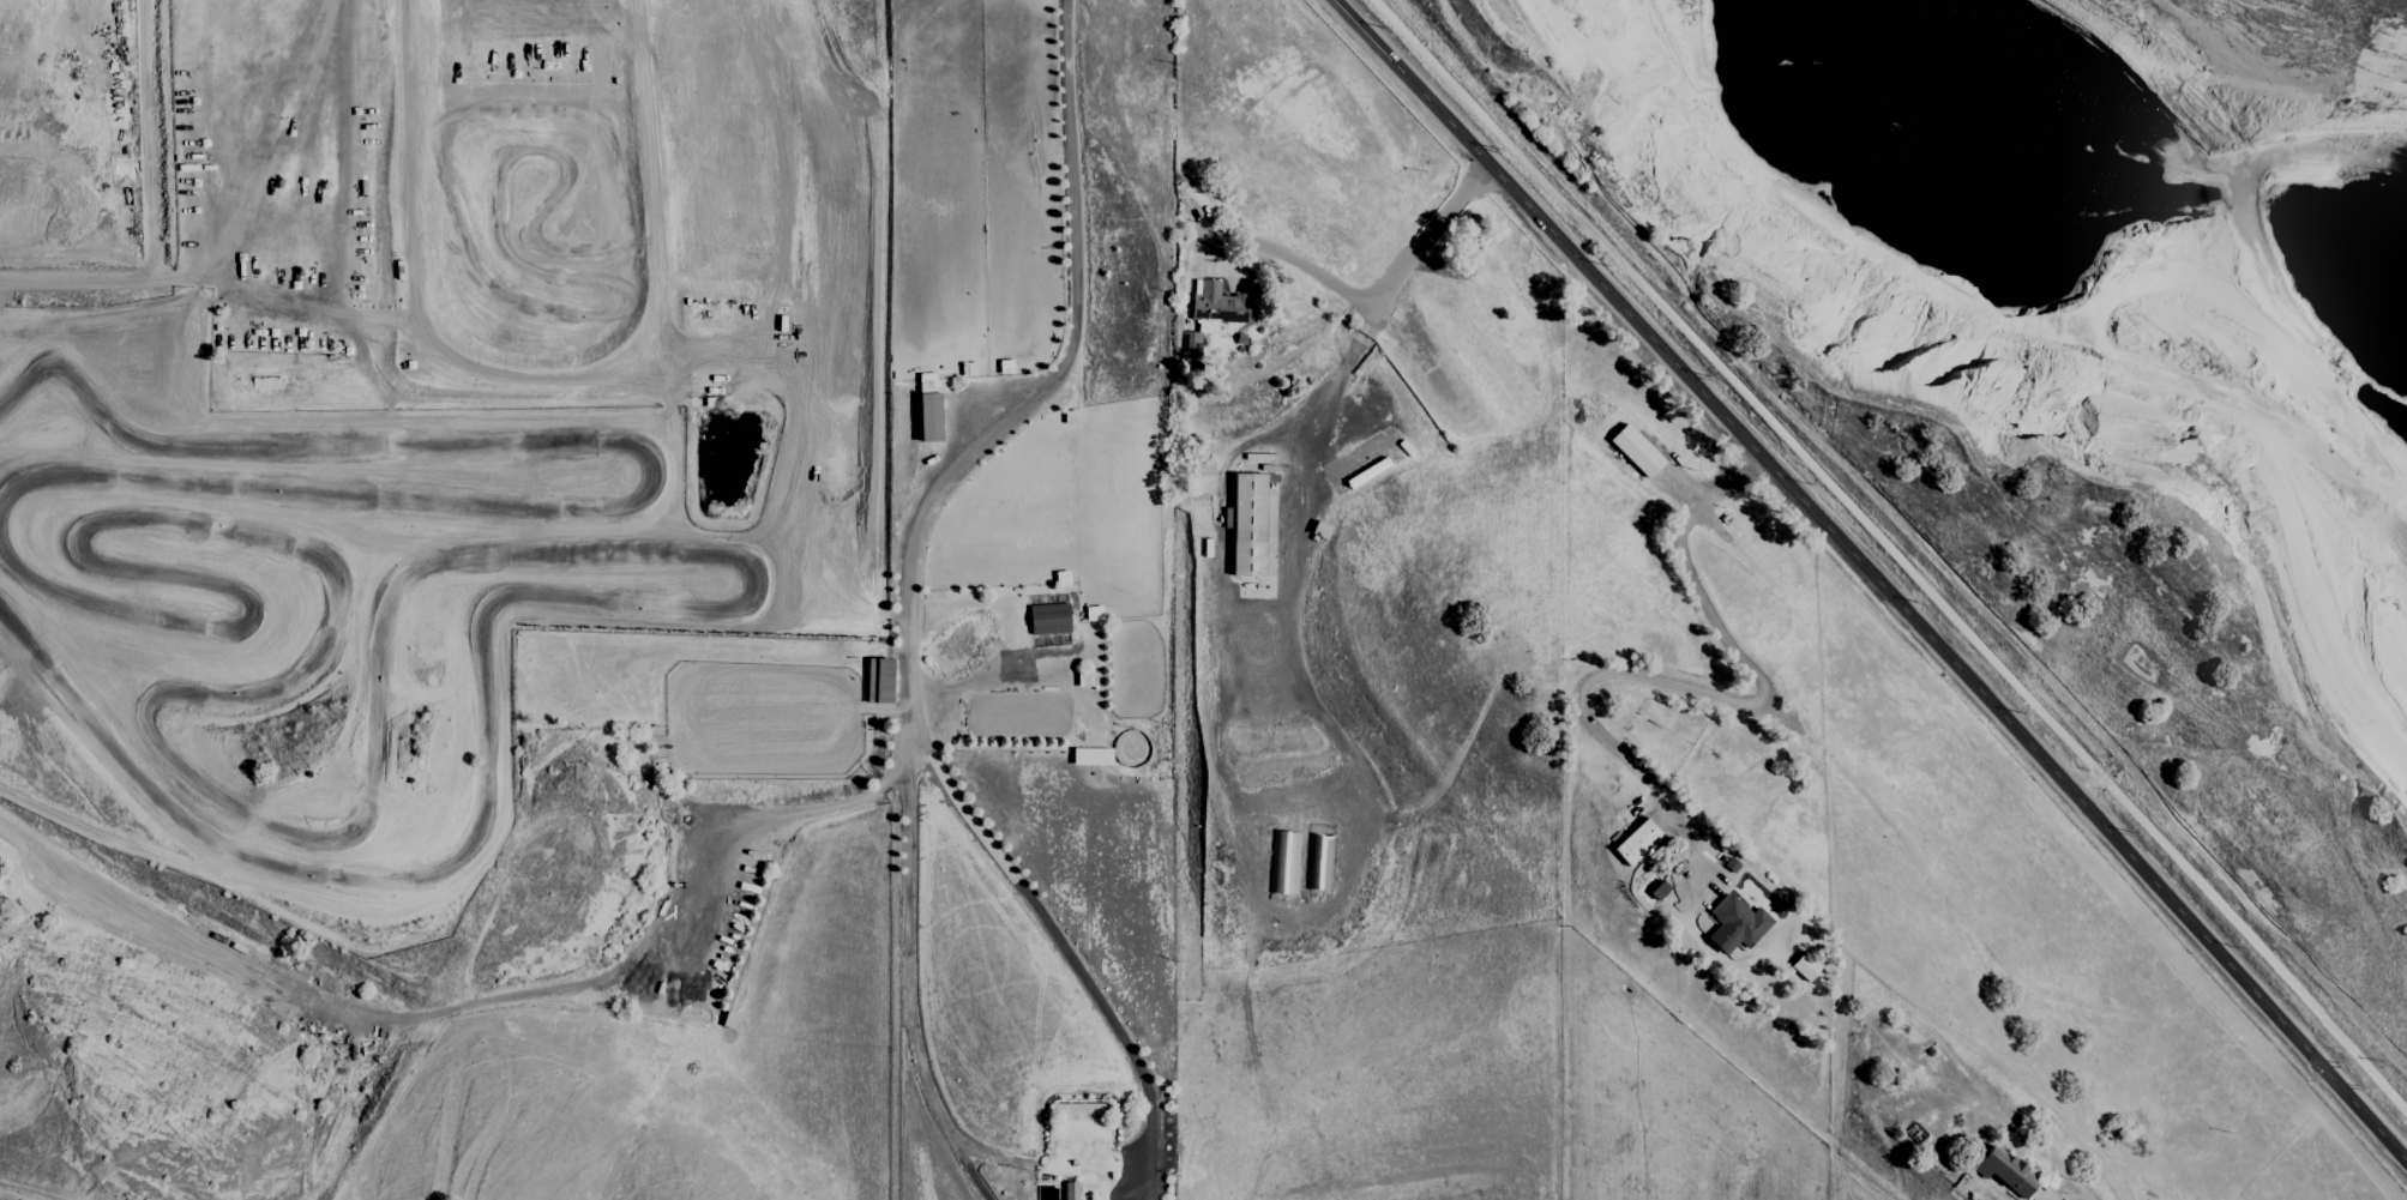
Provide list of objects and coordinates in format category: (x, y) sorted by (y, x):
road: (1415, 248)
quarry: (2064, 253)
road: (1296, 263)
building: (1209, 315)
building: (1004, 367)
road: (1041, 384)
building: (927, 409)
quarry: (427, 435)
building: (1635, 451)
building: (1245, 525)
road: (1870, 583)
building: (1047, 619)
road: (1017, 677)
building: (878, 681)
road: (1256, 682)
road: (1702, 691)
building: (1090, 756)
road: (766, 827)
building: (1636, 843)
building: (1318, 862)
building: (1283, 864)
building: (1657, 891)
road: (1319, 913)
building: (1734, 924)
building: (1803, 967)
road: (1148, 1162)
road: (1082, 1168)
building: (2003, 1171)
road: (973, 1178)
building: (1069, 1190)

